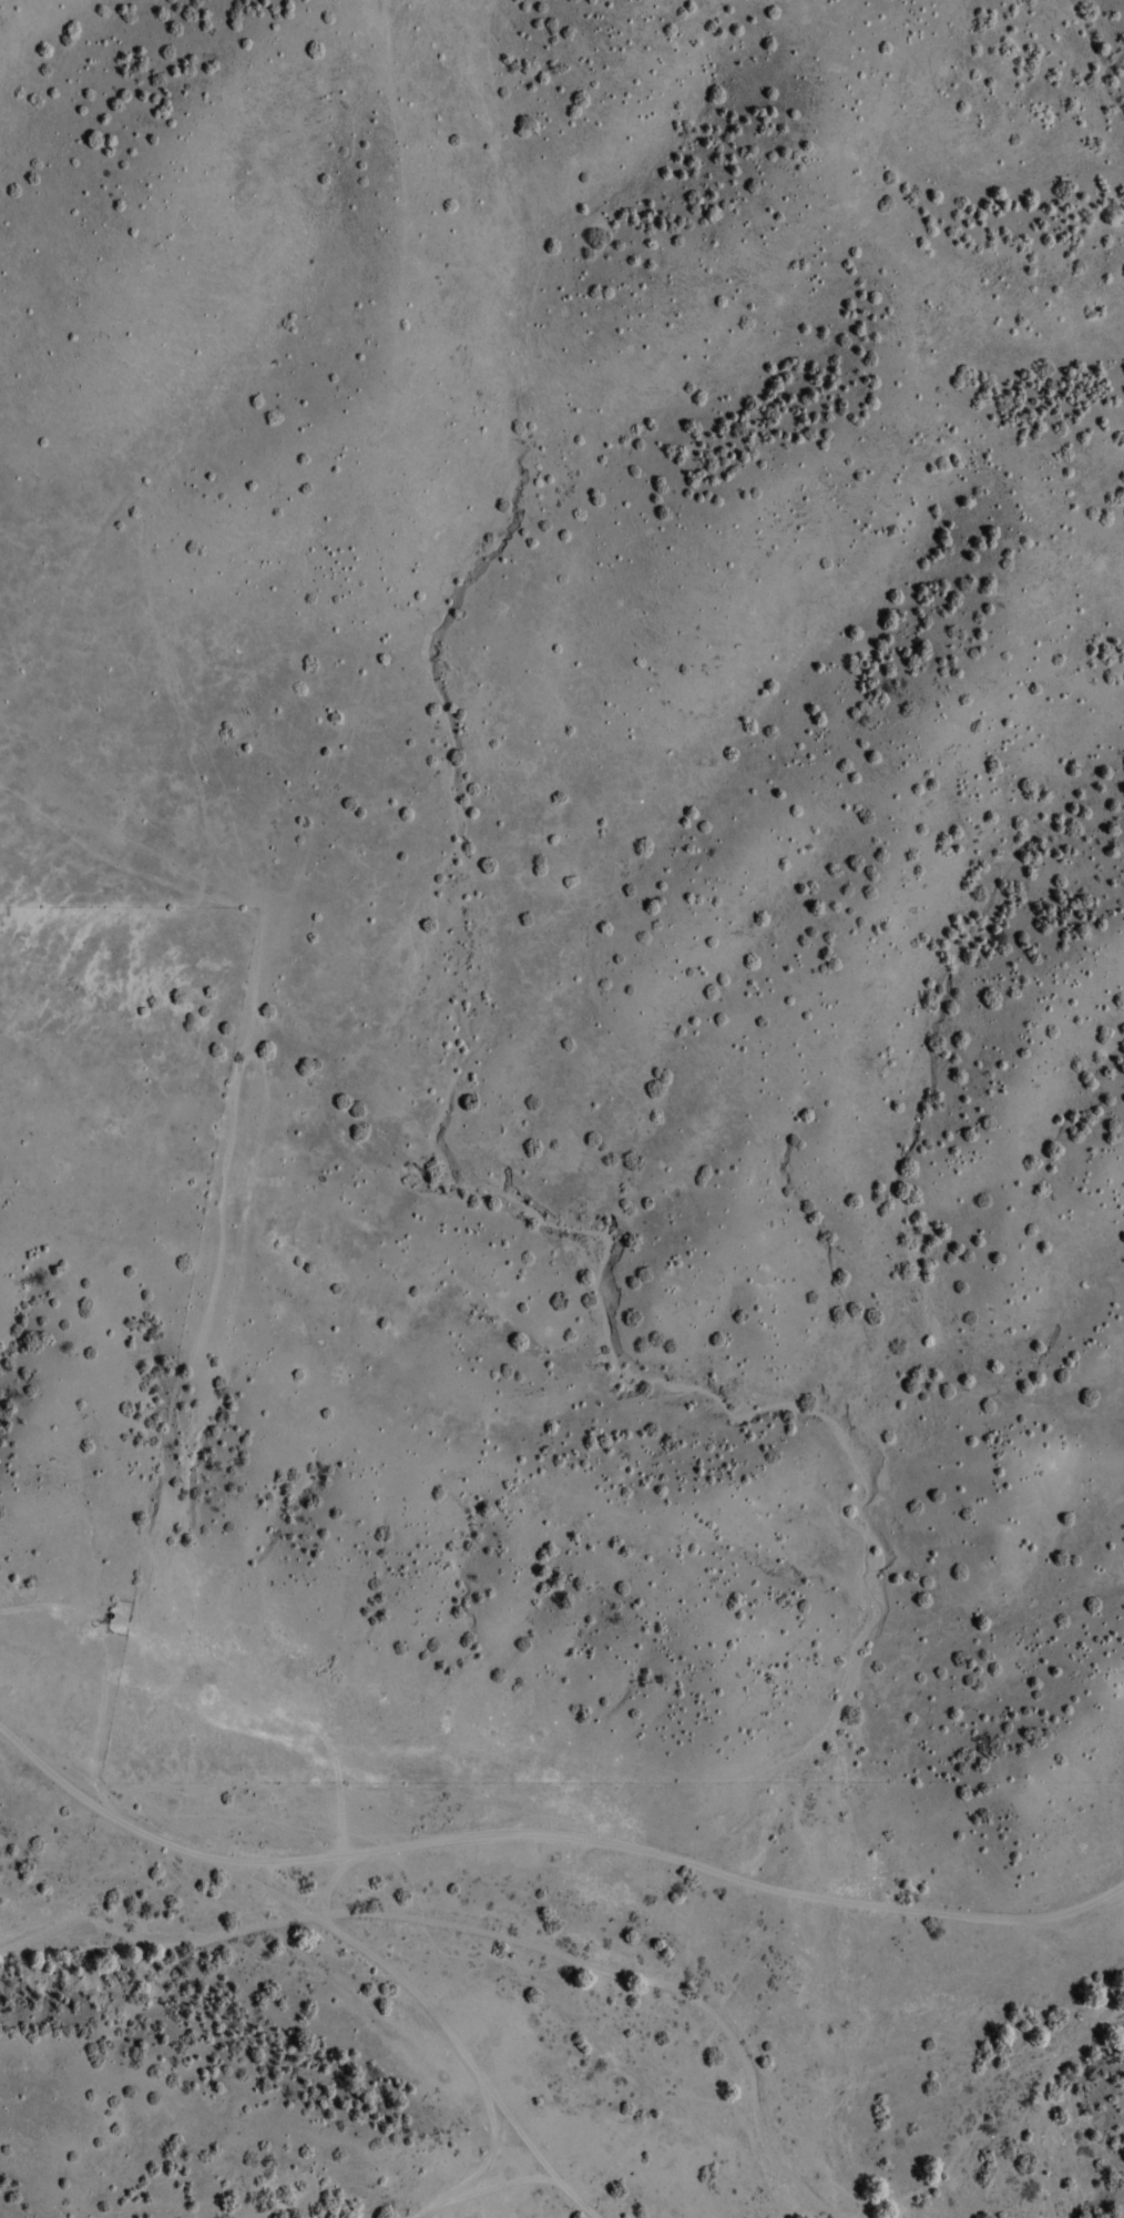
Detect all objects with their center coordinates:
road: (251, 1107)
building: (57, 1645)
road: (549, 1835)
road: (428, 2013)
road: (490, 2140)
road: (484, 2185)

